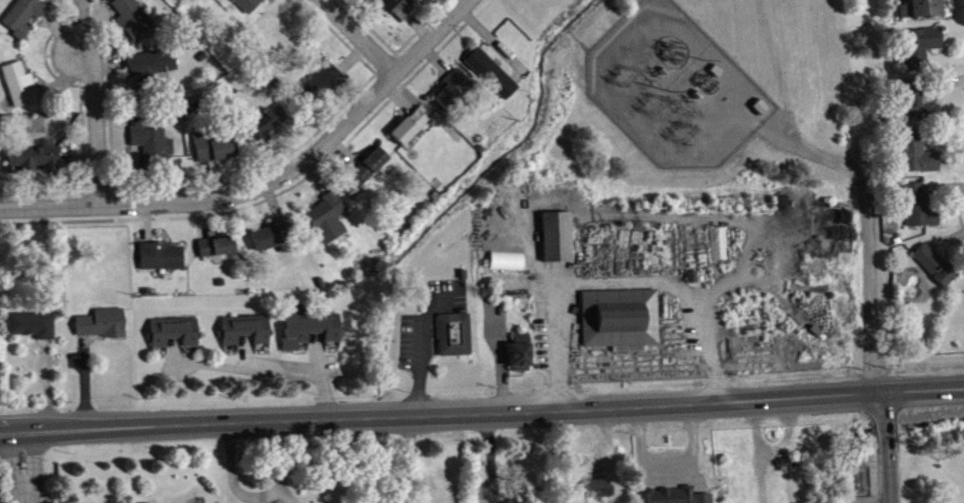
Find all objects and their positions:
building: (90, 0)
building: (248, 7)
building: (397, 9)
building: (924, 11)
building: (24, 19)
building: (132, 20)
road: (359, 38)
building: (921, 50)
building: (153, 69)
building: (493, 77)
building: (323, 85)
building: (21, 89)
building: (454, 92)
building: (917, 107)
road: (98, 126)
building: (266, 128)
building: (411, 130)
building: (152, 144)
building: (215, 151)
building: (918, 157)
building: (35, 162)
building: (373, 168)
road: (271, 184)
building: (921, 210)
building: (329, 220)
road: (868, 232)
building: (274, 239)
building: (559, 241)
building: (218, 250)
building: (162, 260)
building: (509, 265)
building: (936, 268)
road: (621, 282)
building: (622, 323)
building: (103, 327)
building: (34, 329)
building: (310, 332)
building: (452, 332)
building: (248, 334)
building: (176, 335)
building: (522, 357)
road: (268, 371)
road: (482, 410)
road: (884, 446)
power tower: (940, 452)
road: (489, 456)
road: (412, 459)
road: (23, 466)
building: (599, 492)
building: (665, 494)
road: (255, 495)

